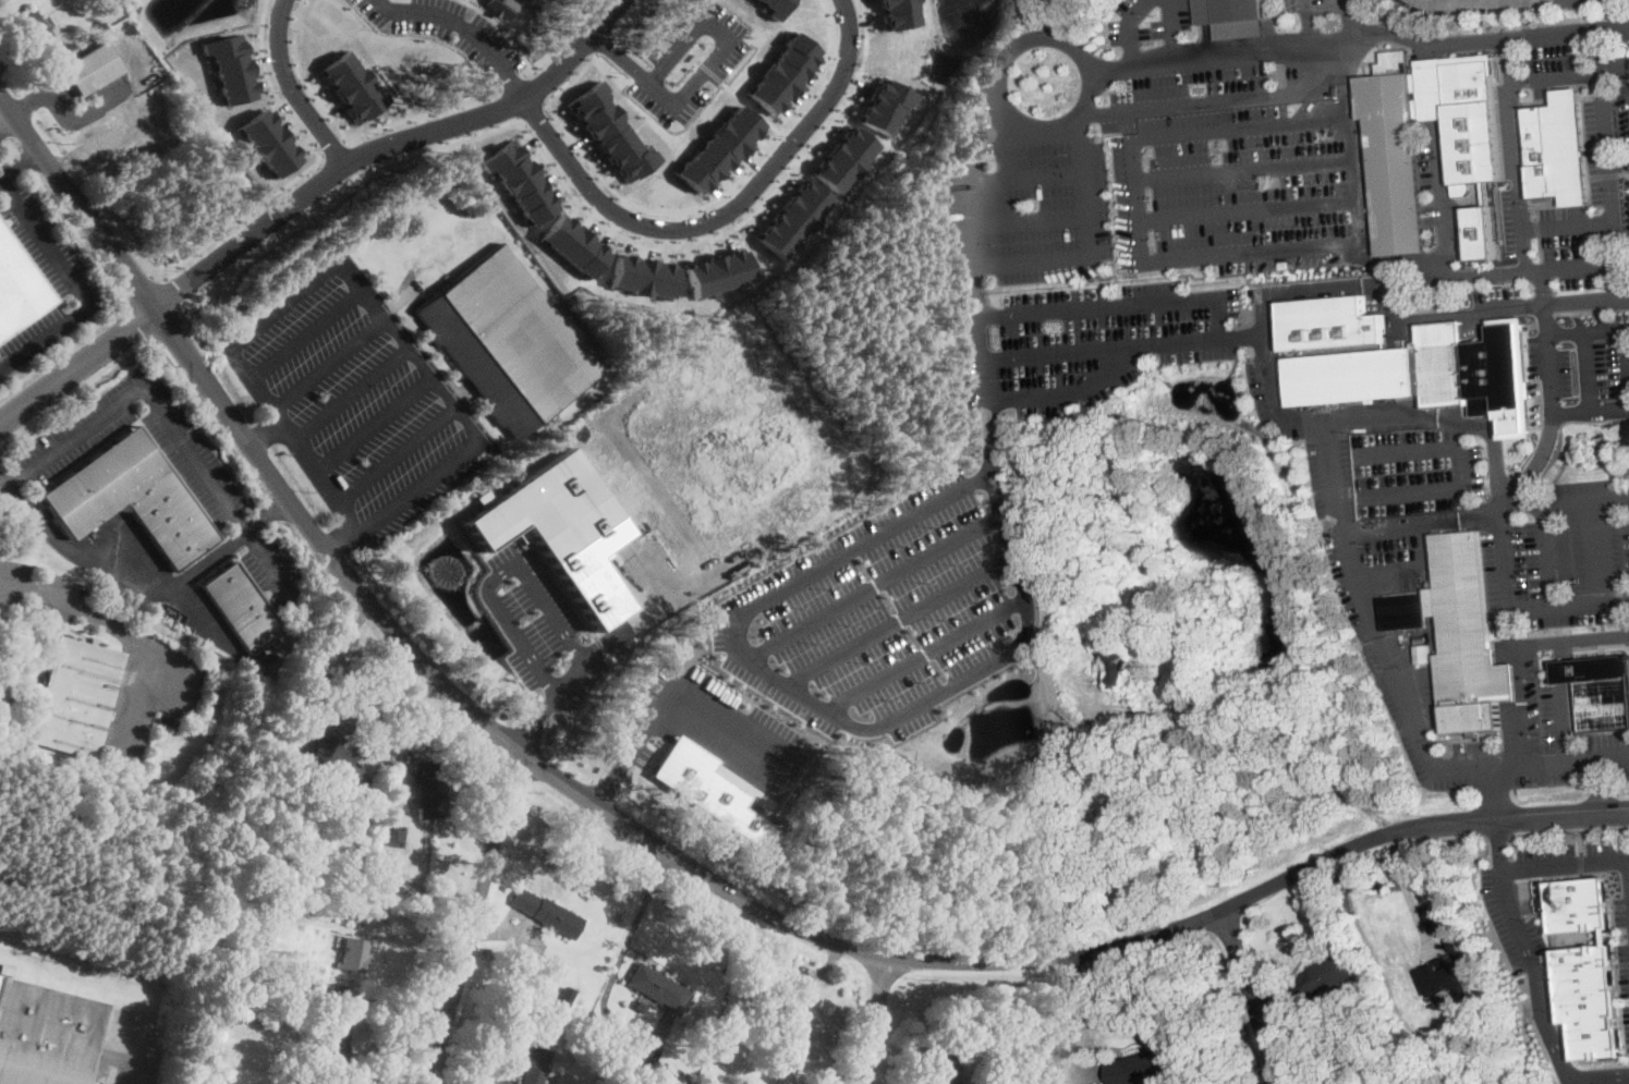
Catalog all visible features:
road: (464, 1)
road: (1471, 1)
parking lot: (1583, 2)
building: (502, 7)
building: (773, 8)
building: (897, 13)
road: (1352, 14)
building: (1238, 19)
road: (1311, 22)
parking lot: (1332, 22)
building: (99, 24)
road: (501, 27)
building: (36, 28)
road: (464, 28)
road: (1129, 29)
road: (1359, 29)
road: (1171, 32)
road: (564, 34)
road: (612, 35)
road: (604, 44)
road: (1598, 49)
road: (1510, 58)
building: (228, 68)
building: (93, 69)
road: (682, 69)
road: (534, 70)
road: (527, 71)
road: (655, 73)
road: (703, 73)
building: (782, 73)
road: (512, 82)
road: (545, 85)
building: (351, 86)
road: (289, 88)
building: (884, 106)
road: (750, 107)
road: (1106, 112)
road: (1005, 113)
road: (536, 115)
road: (8, 124)
road: (1237, 127)
road: (4, 129)
building: (610, 132)
road: (350, 137)
road: (14, 143)
building: (266, 143)
road: (386, 146)
building: (1556, 149)
building: (717, 150)
building: (1474, 153)
road: (1016, 155)
building: (842, 159)
road: (27, 160)
road: (20, 162)
road: (1610, 166)
road: (1516, 167)
road: (1241, 168)
road: (556, 174)
building: (516, 182)
road: (1133, 185)
road: (273, 192)
road: (1445, 200)
road: (695, 207)
parking lot: (1139, 208)
road: (1245, 212)
road: (722, 215)
building: (792, 219)
road: (1029, 219)
road: (1569, 227)
road: (1357, 232)
building: (570, 245)
road: (1004, 266)
building: (717, 272)
building: (641, 276)
parking lot: (46, 278)
road: (1621, 279)
building: (17, 288)
road: (1542, 288)
road: (78, 289)
road: (1164, 301)
road: (123, 302)
road: (268, 315)
road: (137, 320)
building: (1329, 322)
road: (1588, 332)
road: (1244, 340)
building: (507, 341)
road: (283, 350)
road: (1627, 352)
road: (326, 363)
road: (78, 367)
building: (1420, 372)
road: (1590, 373)
road: (1081, 389)
road: (349, 391)
parking lot: (356, 400)
road: (454, 409)
road: (1592, 413)
road: (208, 415)
road: (168, 421)
road: (1301, 421)
road: (1445, 422)
road: (204, 423)
road: (372, 423)
parking lot: (73, 437)
road: (394, 452)
road: (1410, 452)
parking lot: (1406, 471)
parking lot: (1330, 475)
road: (319, 476)
road: (2, 478)
road: (1516, 488)
road: (1446, 489)
building: (131, 499)
road: (1568, 504)
road: (275, 507)
road: (268, 515)
building: (560, 528)
road: (311, 555)
parking lot: (1573, 555)
road: (518, 567)
road: (546, 568)
parking lot: (271, 569)
road: (118, 578)
parking lot: (1377, 582)
road: (876, 586)
parking lot: (40, 589)
road: (1618, 596)
road: (1581, 599)
building: (241, 608)
parking lot: (889, 610)
building: (1402, 610)
road: (642, 613)
road: (901, 619)
parking lot: (539, 629)
road: (129, 634)
building: (1466, 638)
road: (600, 645)
road: (430, 649)
building: (1423, 653)
road: (925, 654)
road: (342, 657)
building: (1113, 661)
building: (1598, 691)
building: (73, 697)
parking lot: (185, 702)
road: (1524, 704)
road: (665, 705)
road: (580, 707)
road: (839, 719)
parking lot: (137, 729)
parking lot: (714, 729)
road: (530, 731)
road: (526, 735)
building: (101, 736)
building: (338, 763)
road: (567, 764)
road: (1541, 765)
road: (640, 770)
road: (1595, 784)
building: (426, 787)
road: (605, 789)
building: (708, 790)
building: (287, 814)
road: (1570, 832)
building: (394, 836)
road: (1499, 837)
road: (1459, 840)
road: (1495, 841)
road: (1580, 842)
building: (276, 844)
building: (293, 847)
road: (664, 852)
road: (704, 854)
road: (1580, 863)
road: (1628, 863)
road: (1403, 882)
building: (277, 899)
building: (297, 903)
building: (1575, 903)
parking lot: (1503, 909)
building: (547, 913)
parking lot: (1624, 914)
road: (472, 917)
road: (1619, 935)
road: (1525, 939)
road: (408, 943)
building: (1452, 943)
road: (1613, 948)
building: (523, 952)
road: (622, 954)
building: (354, 955)
building: (561, 975)
building: (1325, 978)
building: (659, 987)
building: (566, 996)
building: (333, 997)
road: (1248, 997)
building: (1587, 1000)
building: (285, 1003)
road: (873, 1020)
parking lot: (1628, 1020)
road: (1068, 1021)
building: (643, 1023)
building: (45, 1034)
building: (790, 1035)
building: (337, 1037)
building: (810, 1051)
building: (647, 1065)
building: (535, 1067)
building: (939, 1067)
building: (1142, 1068)
parking lot: (1616, 1079)
road: (1570, 1081)

